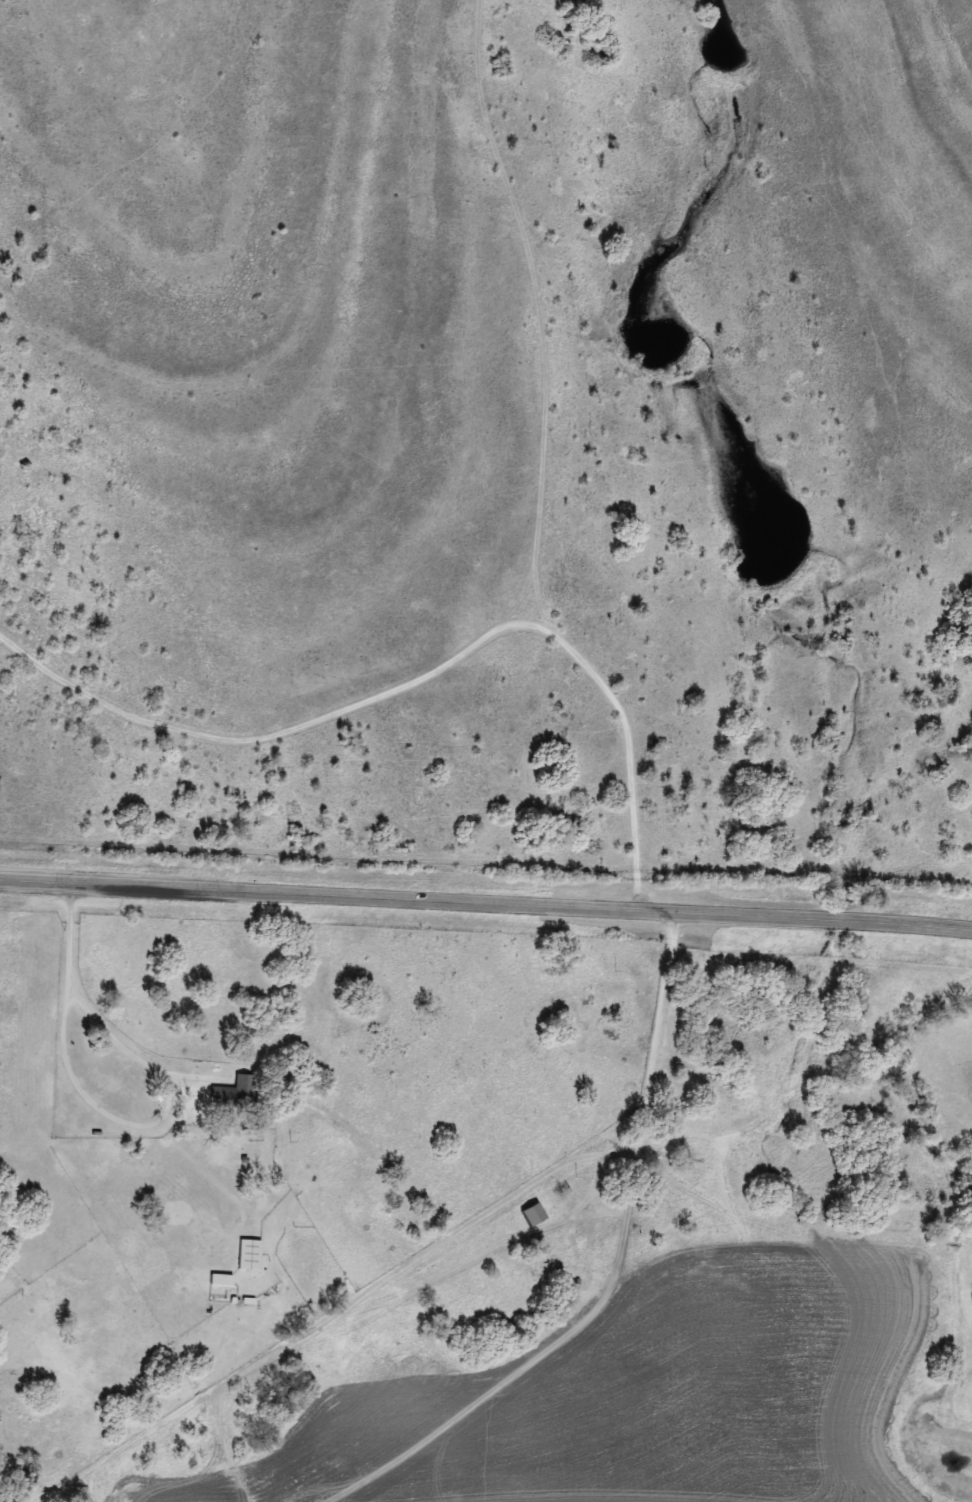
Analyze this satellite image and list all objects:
road: (486, 904)
road: (96, 1015)
building: (234, 1094)
road: (578, 1168)
building: (533, 1215)
building: (249, 1255)
building: (221, 1281)

